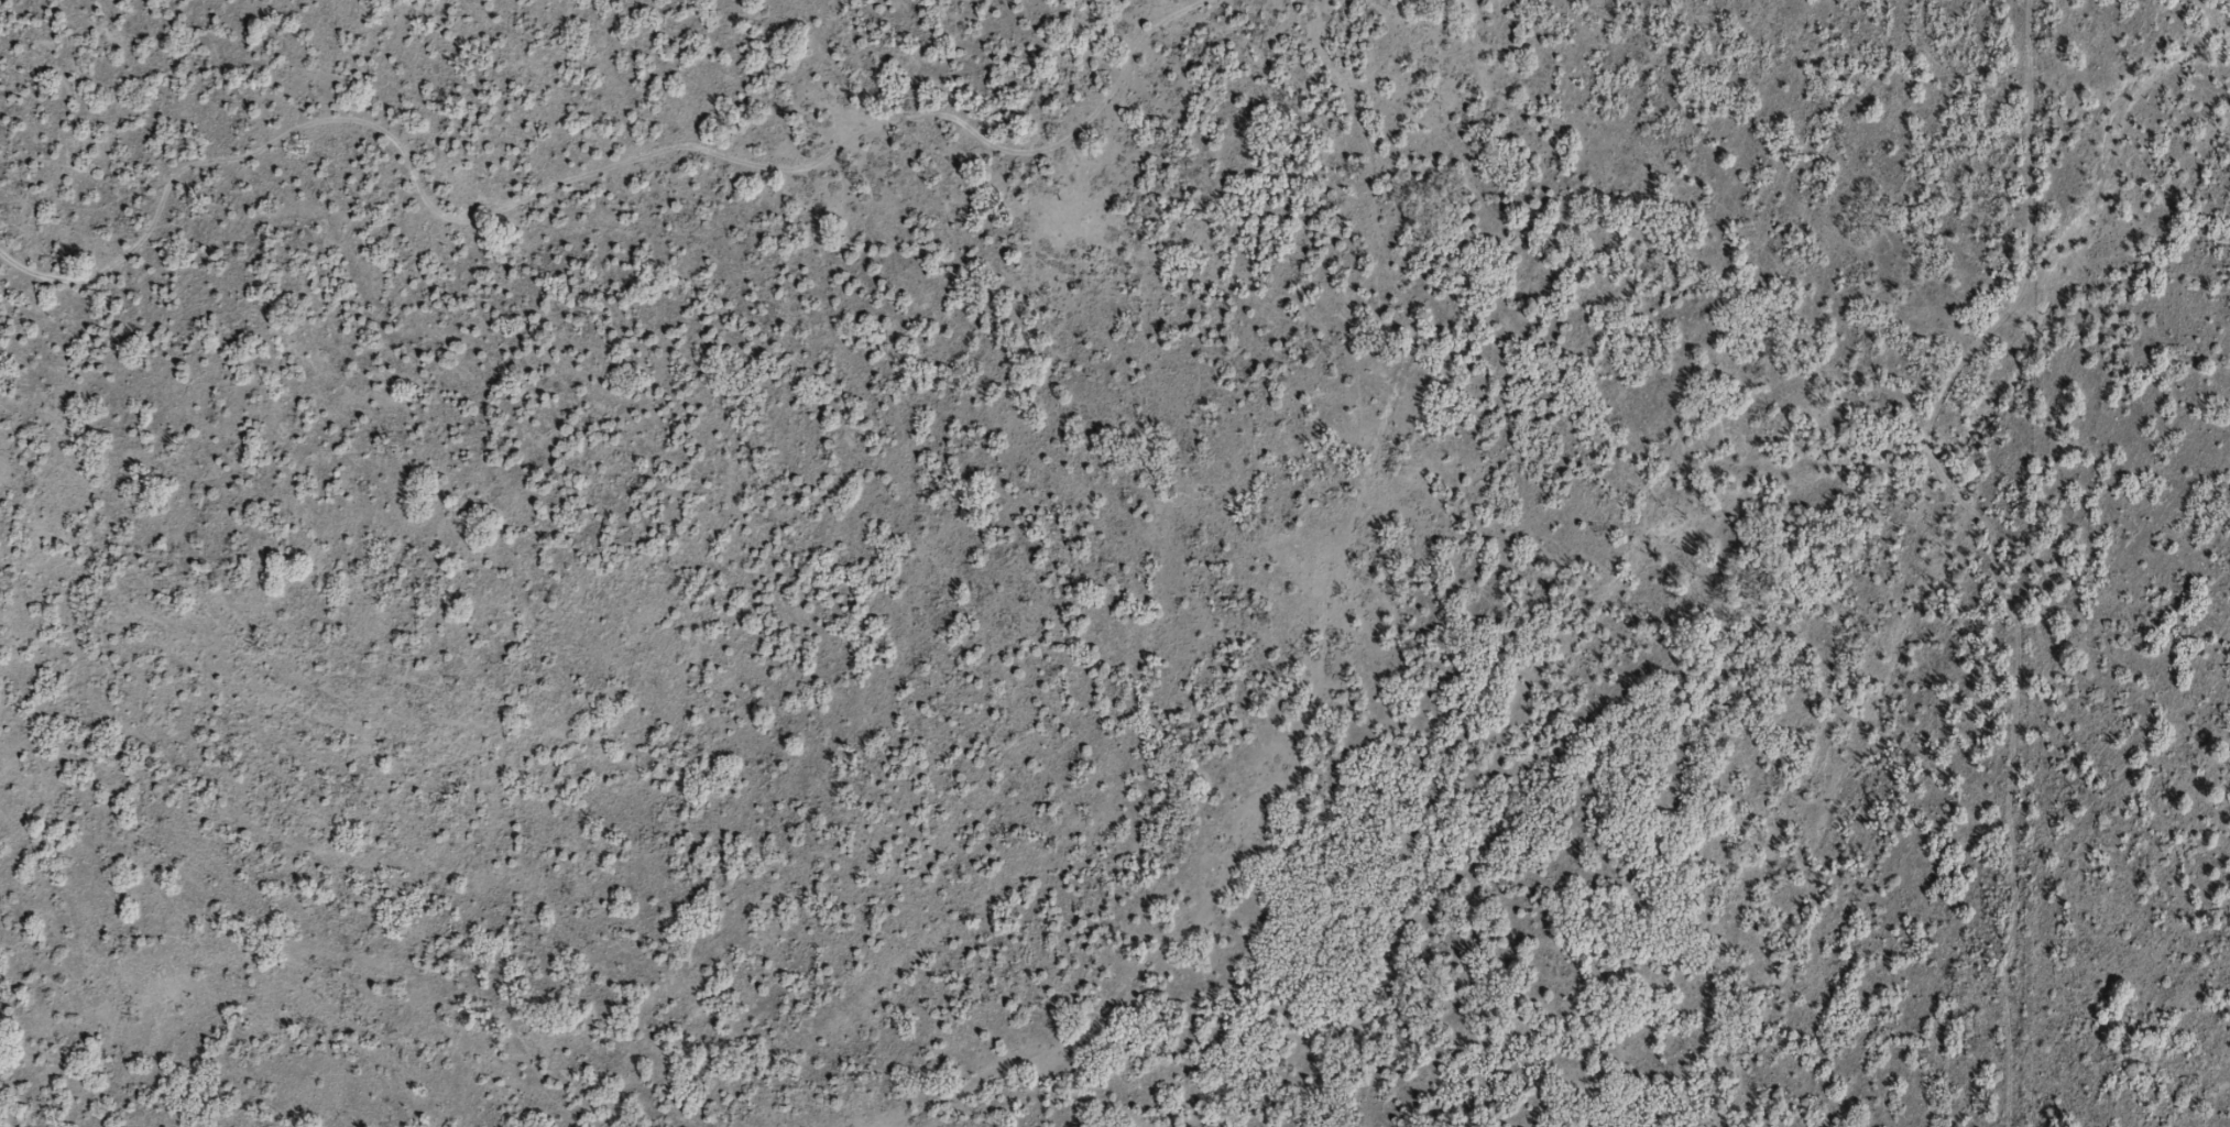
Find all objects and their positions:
road: (1135, 114)
road: (459, 179)

